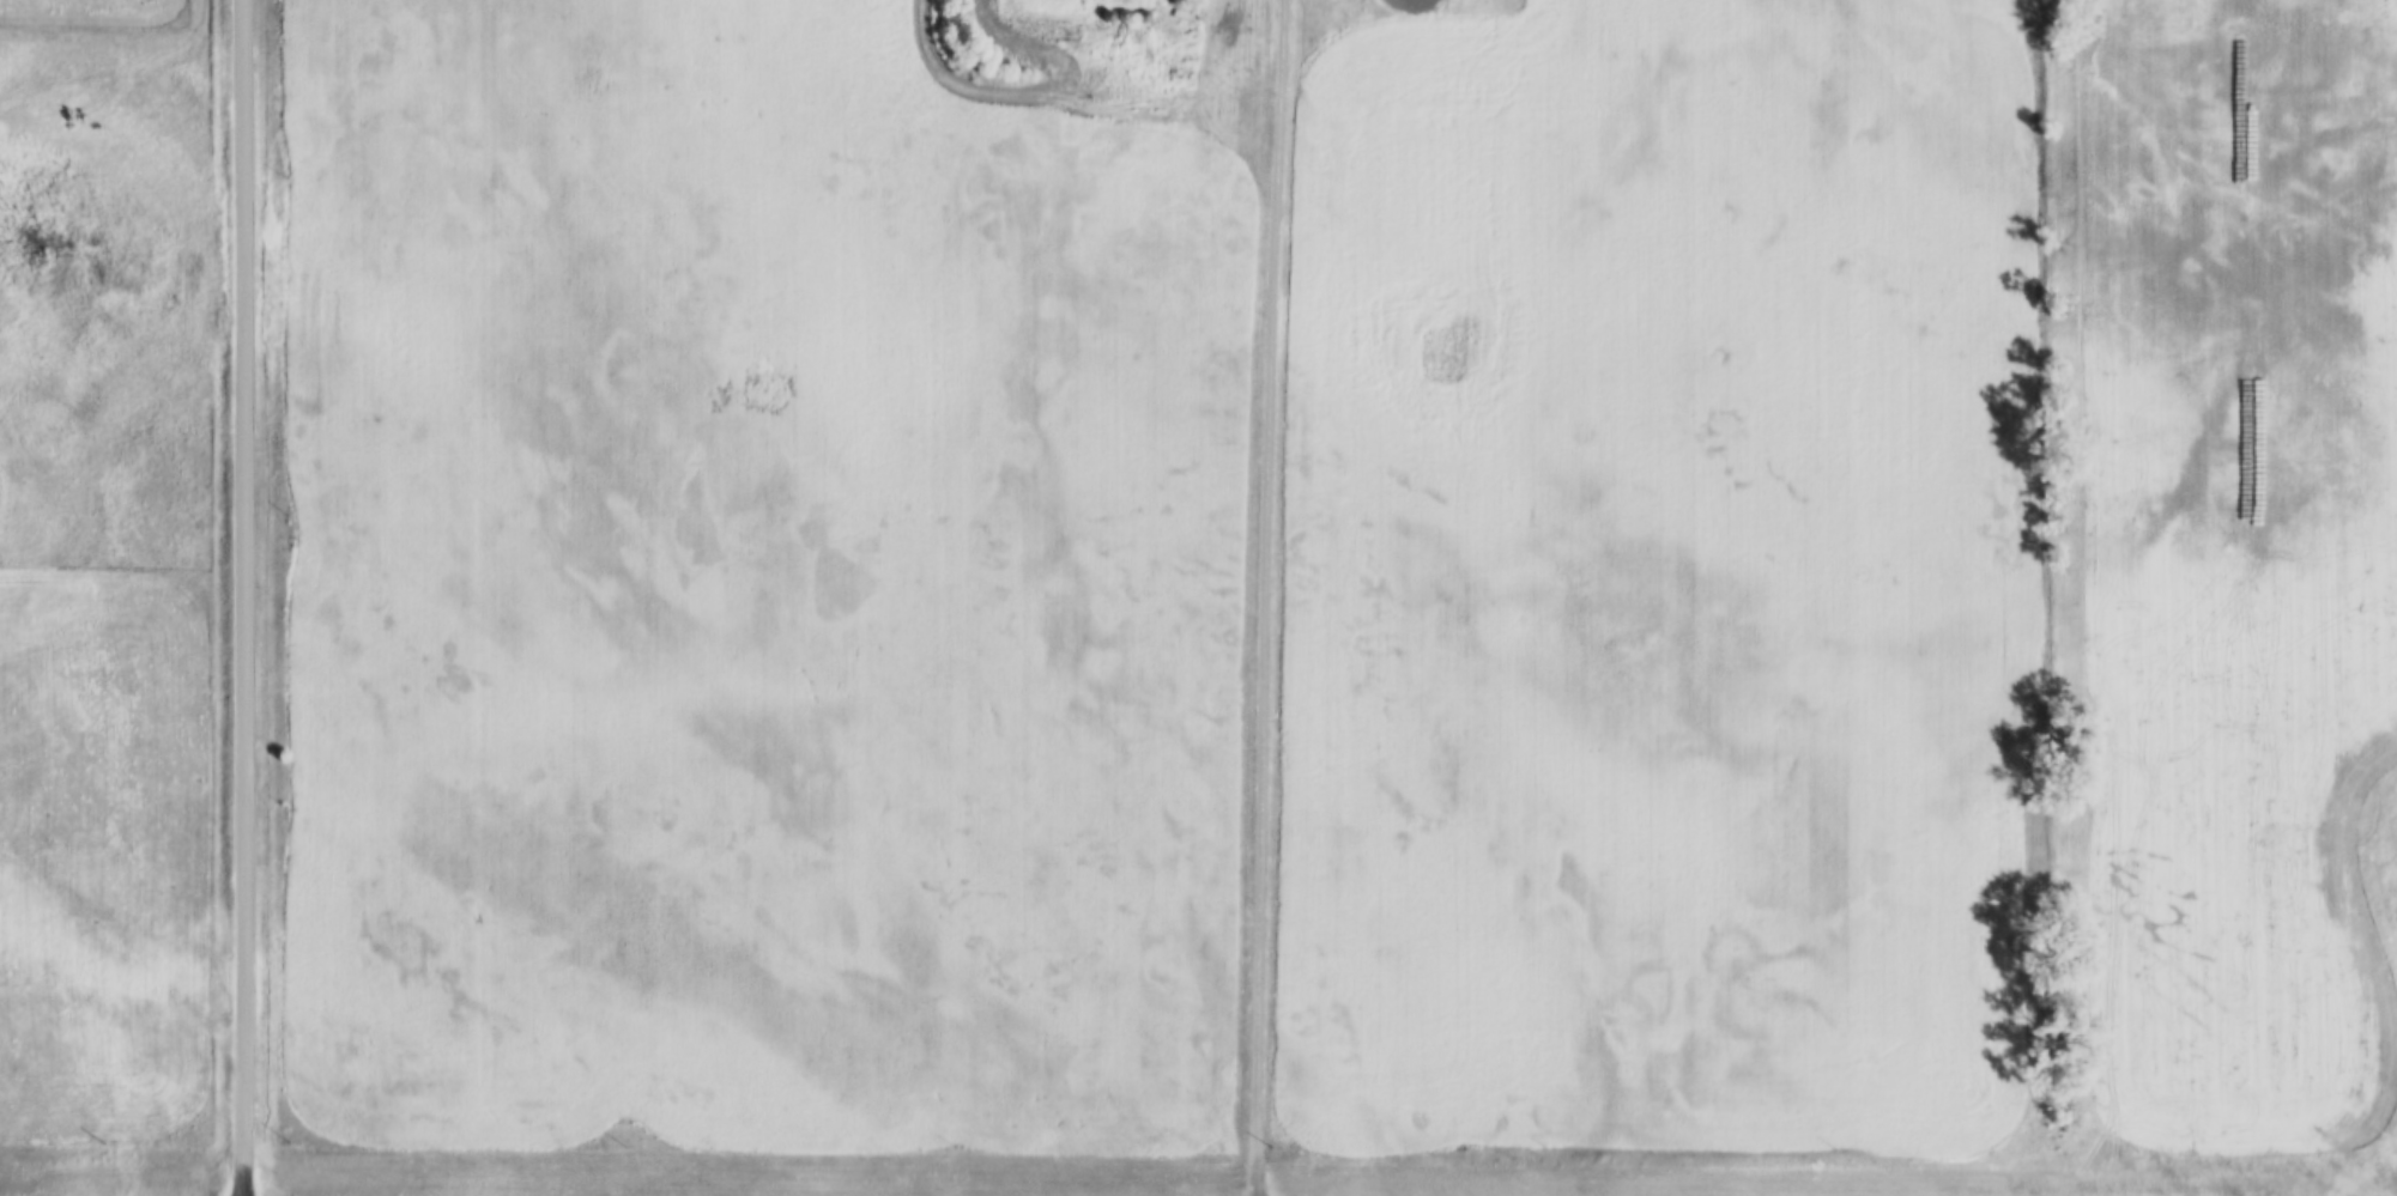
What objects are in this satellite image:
road: (247, 597)
road: (1266, 597)

